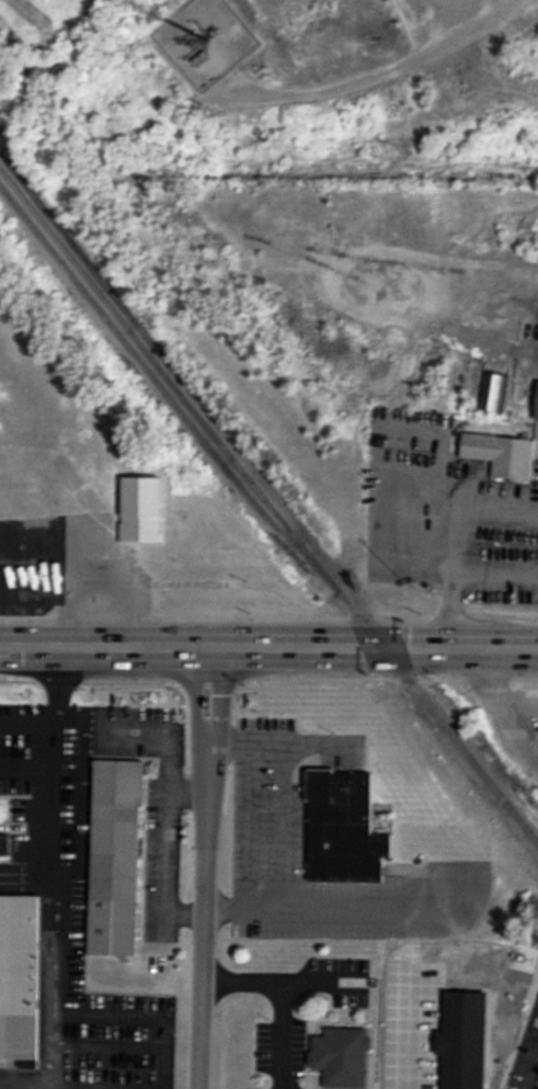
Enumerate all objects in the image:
railway: (174, 383)
building: (493, 392)
building: (503, 453)
railway: (266, 515)
road: (454, 537)
road: (268, 643)
road: (54, 681)
road: (26, 718)
road: (49, 768)
road: (285, 826)
building: (345, 827)
building: (116, 857)
road: (205, 865)
building: (20, 976)
road: (278, 1000)
building: (342, 1056)
road: (535, 1081)

